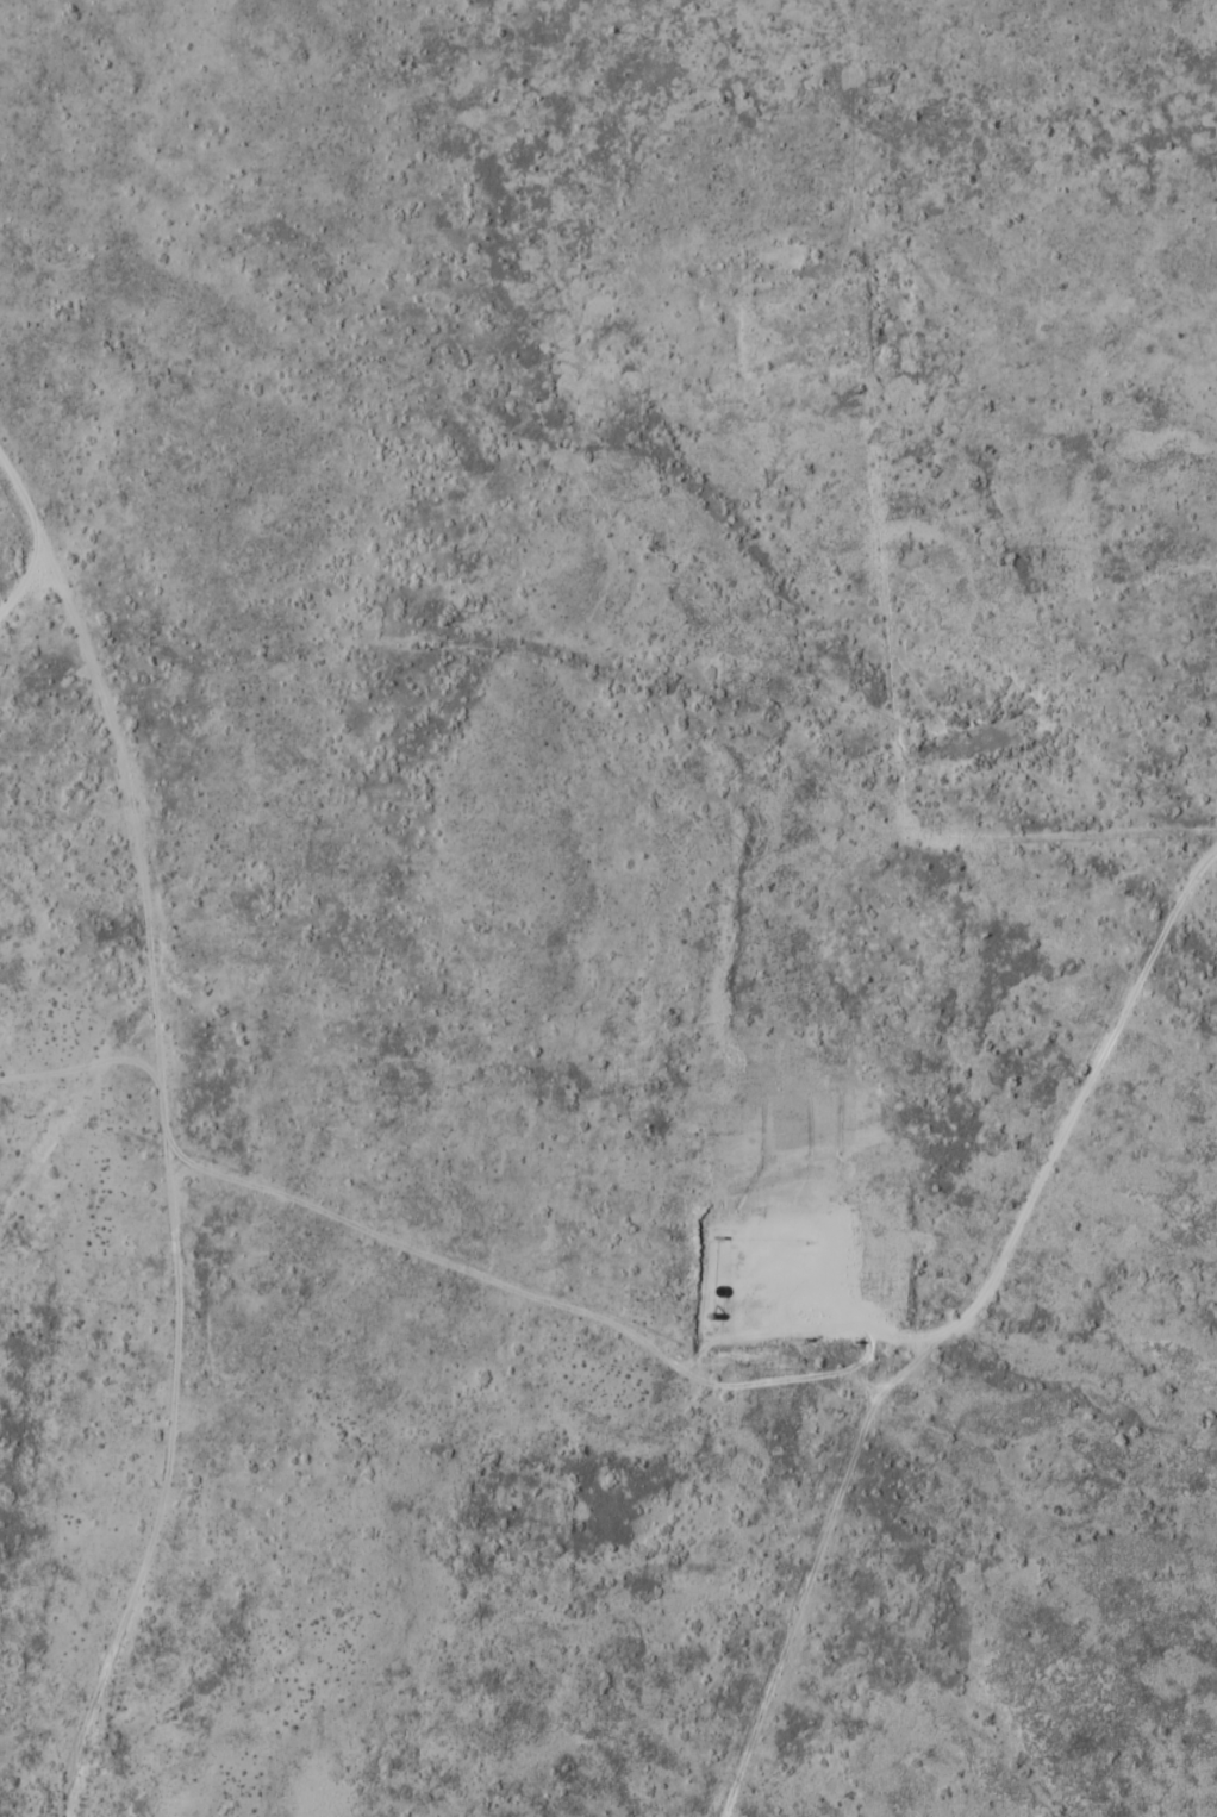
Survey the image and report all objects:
road: (882, 564)
road: (81, 1084)
road: (167, 1129)
road: (1041, 1194)

